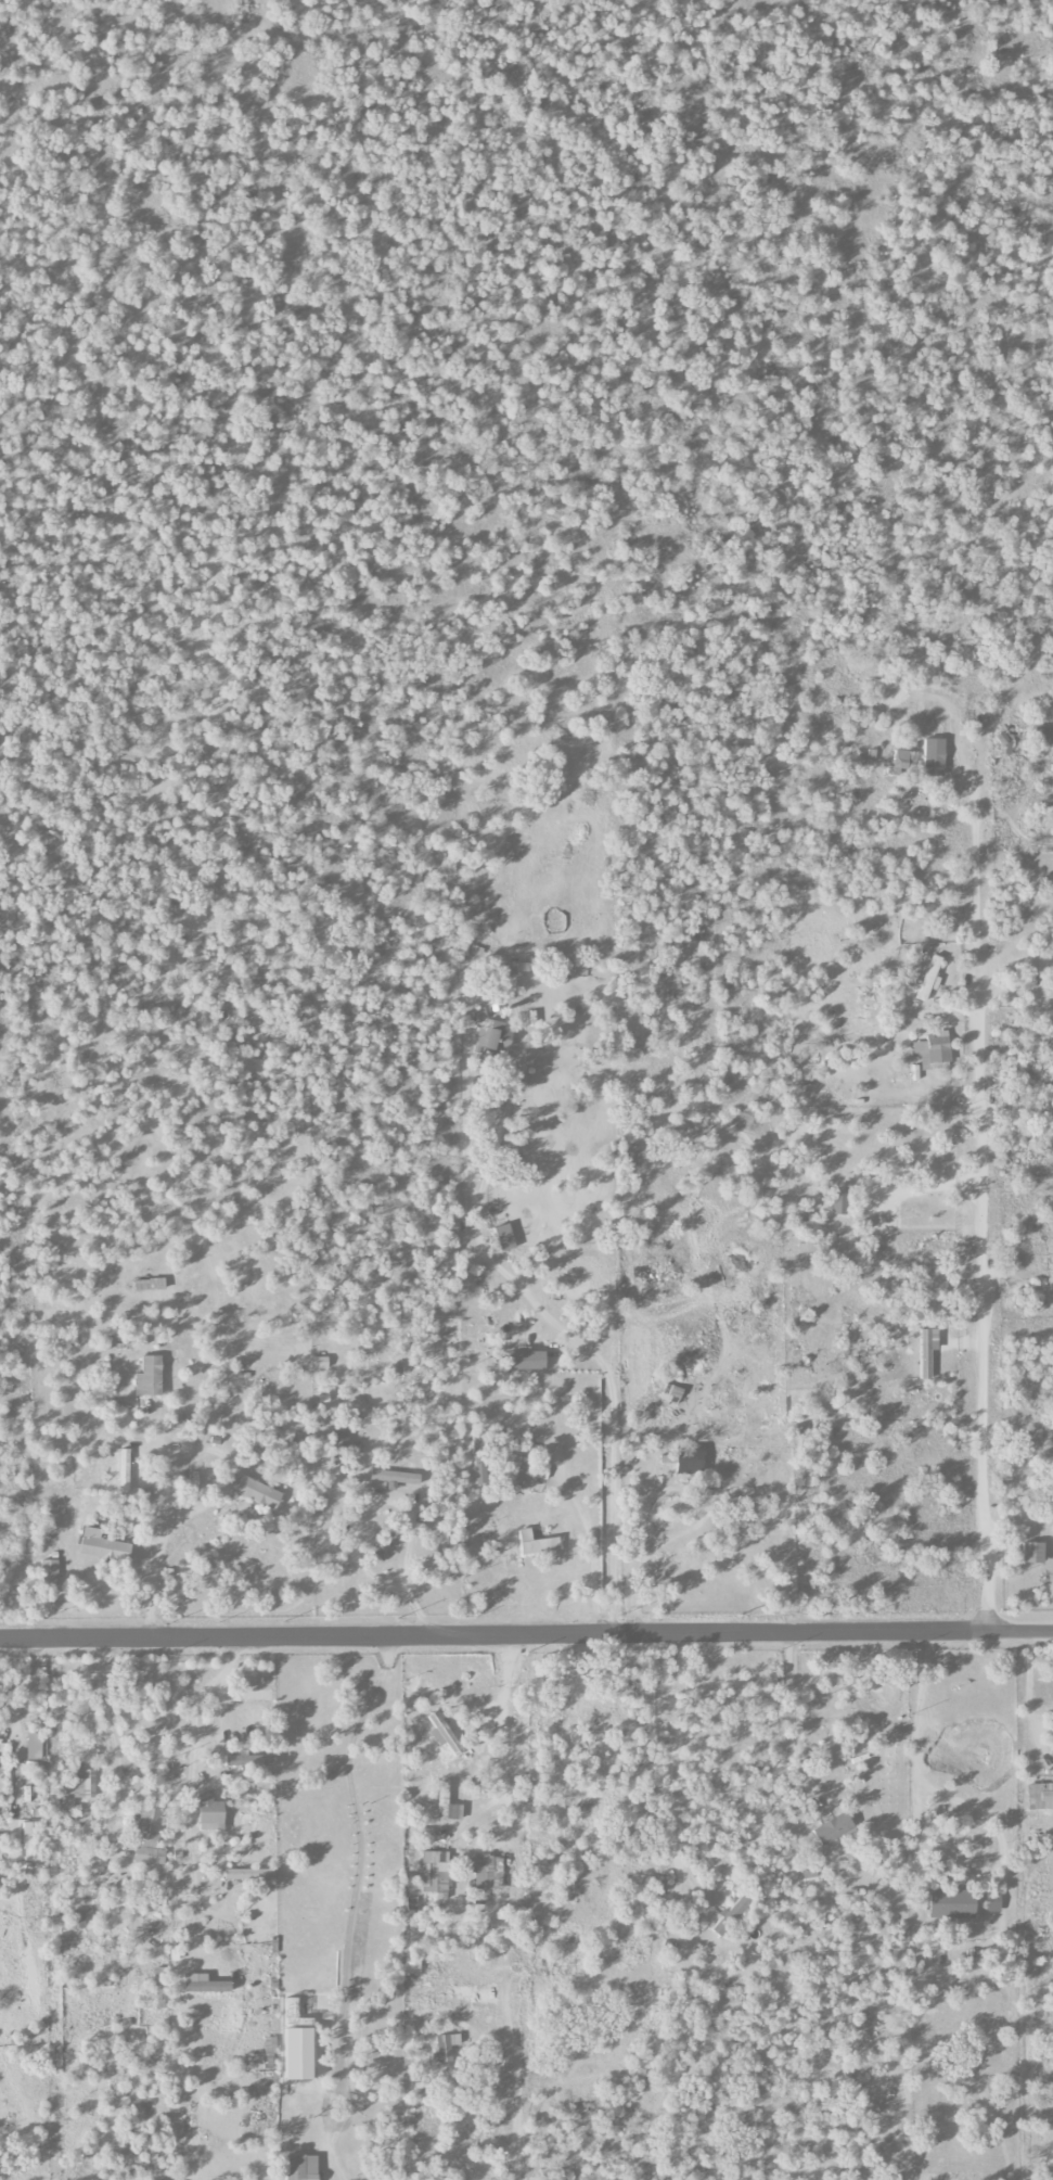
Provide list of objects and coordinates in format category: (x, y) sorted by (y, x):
building: (1043, 736)
building: (1004, 742)
building: (933, 757)
building: (927, 980)
building: (478, 1015)
building: (489, 1038)
building: (934, 1054)
road: (511, 1082)
road: (983, 1211)
building: (504, 1237)
road: (558, 1329)
building: (526, 1361)
building: (149, 1377)
building: (338, 1438)
road: (162, 1461)
building: (123, 1470)
building: (541, 1471)
building: (513, 1474)
building: (394, 1477)
building: (257, 1493)
road: (389, 1502)
building: (536, 1543)
road: (590, 1545)
building: (102, 1546)
building: (1032, 1553)
road: (640, 1563)
building: (49, 1572)
road: (544, 1581)
road: (526, 1633)
building: (248, 1695)
road: (788, 1710)
road: (107, 1721)
building: (442, 1734)
road: (497, 1736)
building: (34, 1747)
building: (249, 1759)
road: (667, 1760)
road: (189, 1779)
building: (84, 1783)
road: (925, 1785)
building: (1040, 1797)
building: (66, 1802)
building: (446, 1802)
building: (209, 1813)
building: (833, 1828)
building: (147, 1837)
building: (28, 1840)
building: (486, 1871)
building: (435, 1872)
building: (248, 1874)
building: (809, 1878)
building: (992, 1902)
building: (951, 1904)
road: (349, 1905)
building: (730, 1915)
building: (78, 1920)
building: (412, 1966)
building: (444, 2048)
building: (300, 2167)

